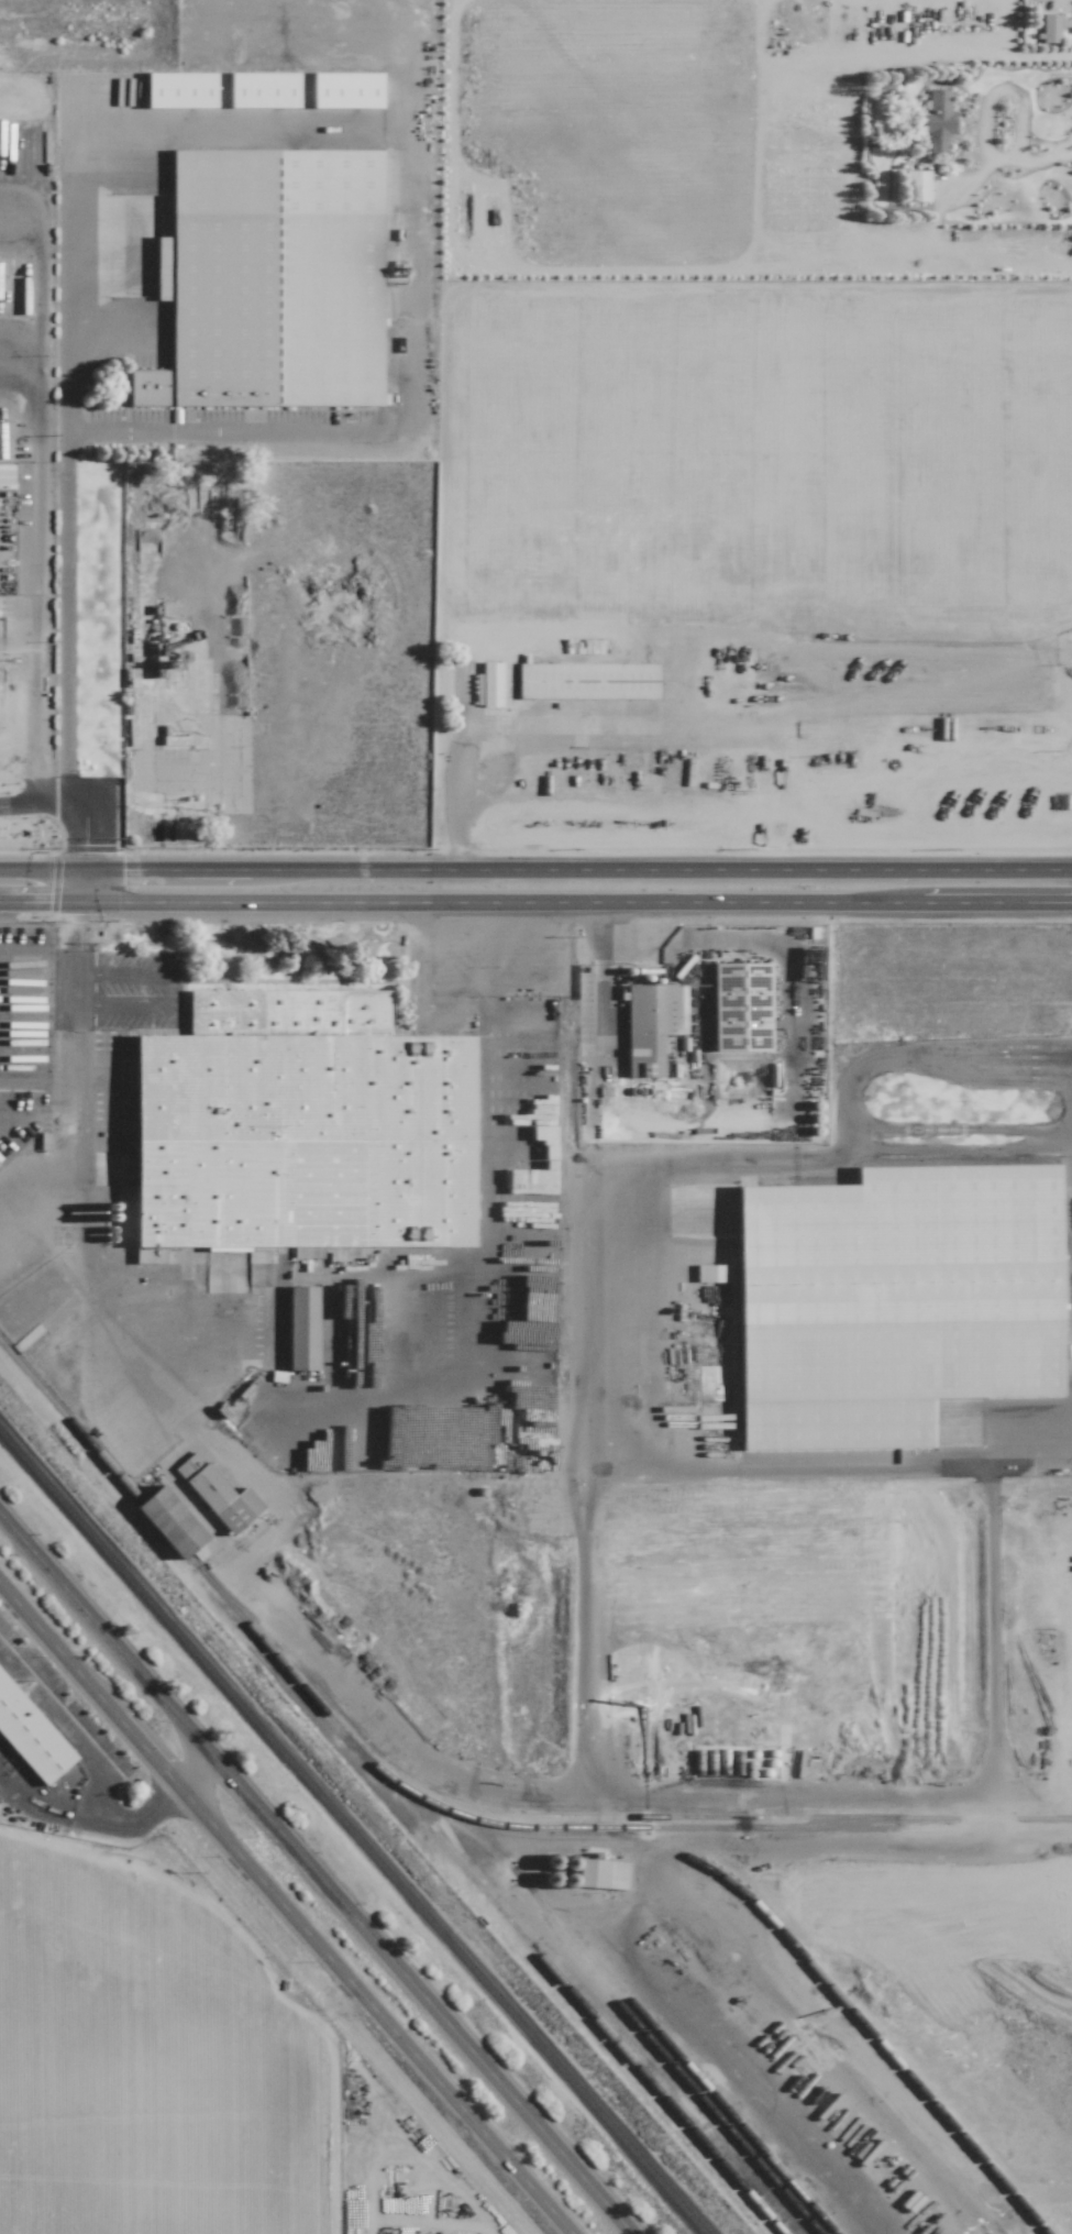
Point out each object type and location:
building: (1049, 27)
building: (180, 89)
building: (263, 89)
building: (346, 90)
road: (993, 96)
road: (172, 118)
building: (937, 120)
road: (1045, 159)
building: (915, 186)
building: (270, 280)
building: (587, 681)
building: (491, 685)
road: (29, 722)
building: (183, 740)
road: (546, 751)
road: (456, 772)
road: (15, 785)
road: (49, 794)
road: (23, 803)
road: (535, 870)
road: (535, 903)
road: (77, 966)
road: (418, 967)
road: (168, 988)
building: (740, 1006)
building: (652, 1025)
road: (846, 1093)
building: (301, 1127)
building: (125, 1213)
road: (82, 1236)
building: (710, 1273)
building: (893, 1301)
building: (301, 1328)
building: (218, 1494)
building: (169, 1521)
road: (68, 1720)
building: (31, 1735)
railway: (391, 1779)
road: (114, 1818)
railway: (567, 1819)
railway: (352, 1834)
building: (601, 1873)
road: (316, 1874)
road: (284, 1907)
railway: (571, 1992)
railway: (833, 1992)
railway: (633, 2006)
railway: (668, 2062)

